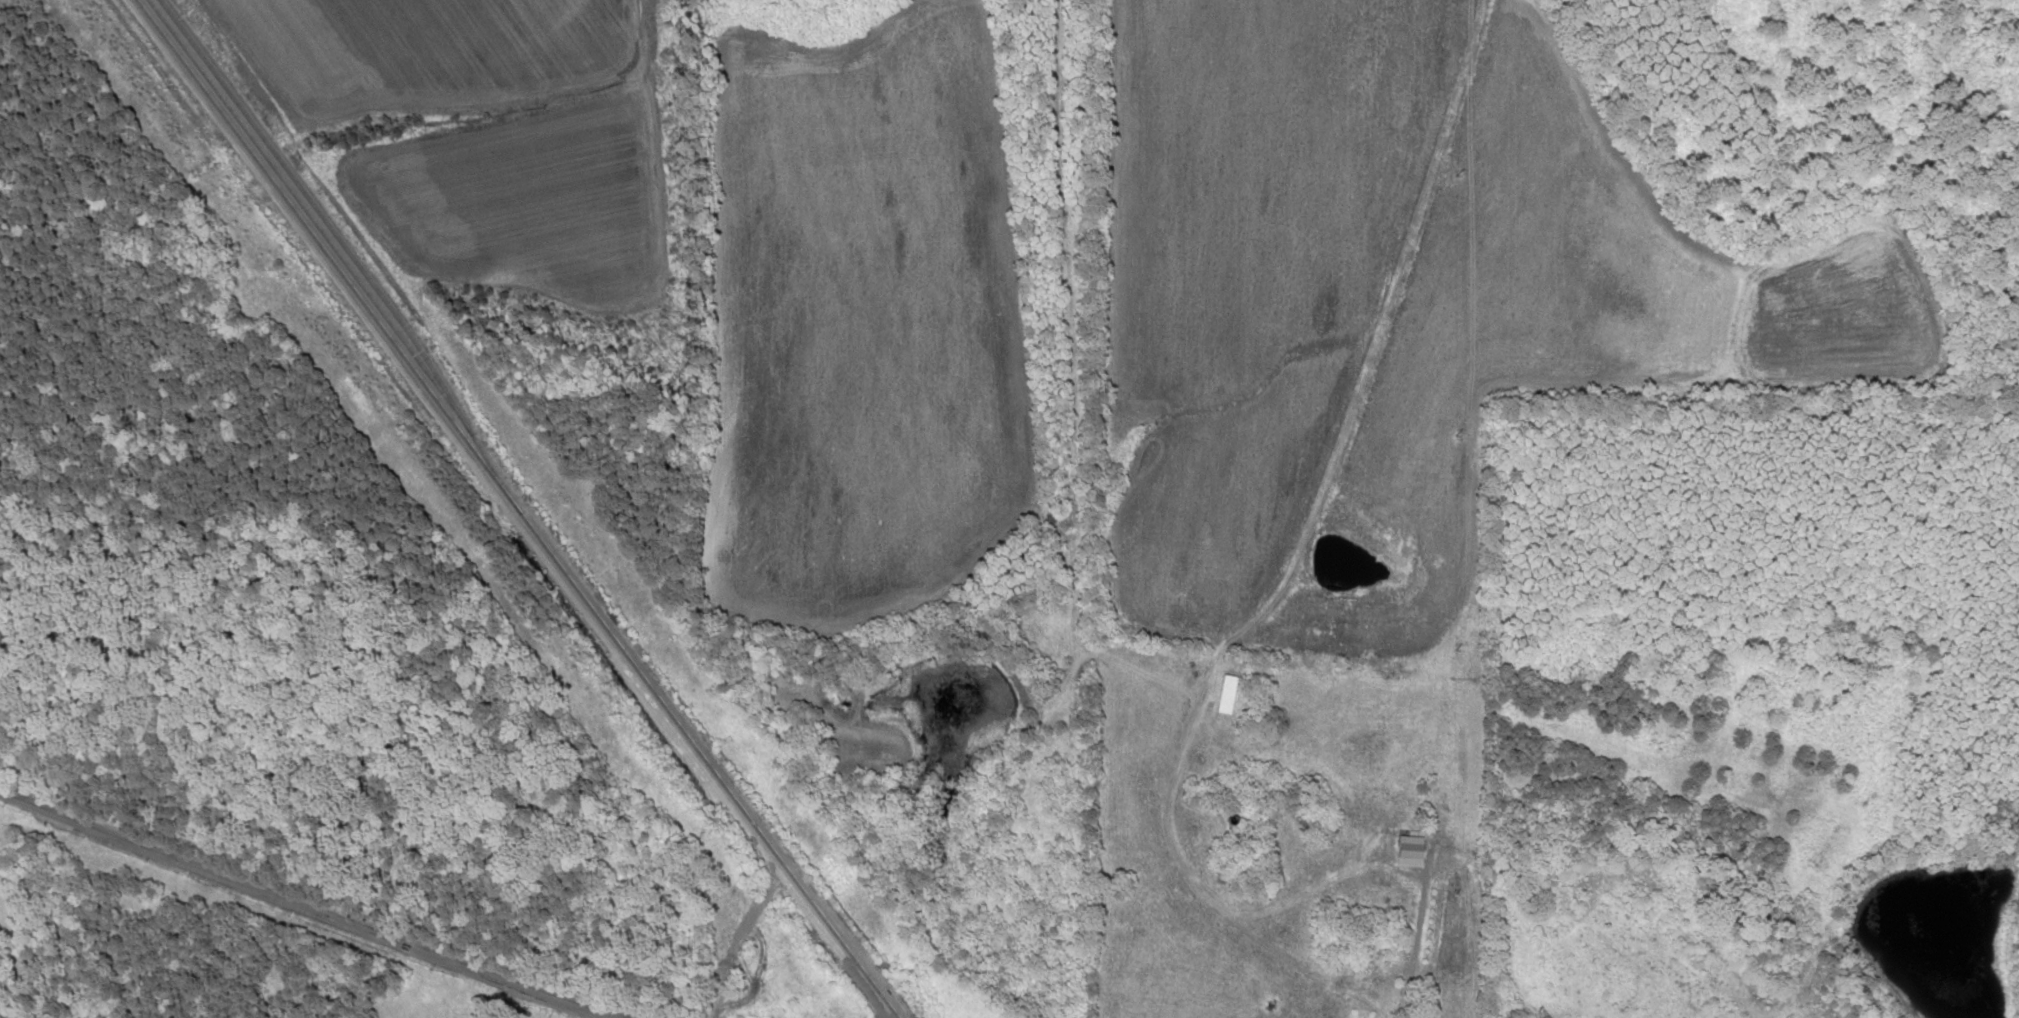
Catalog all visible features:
railway: (516, 509)
building: (1412, 846)
road: (305, 899)

